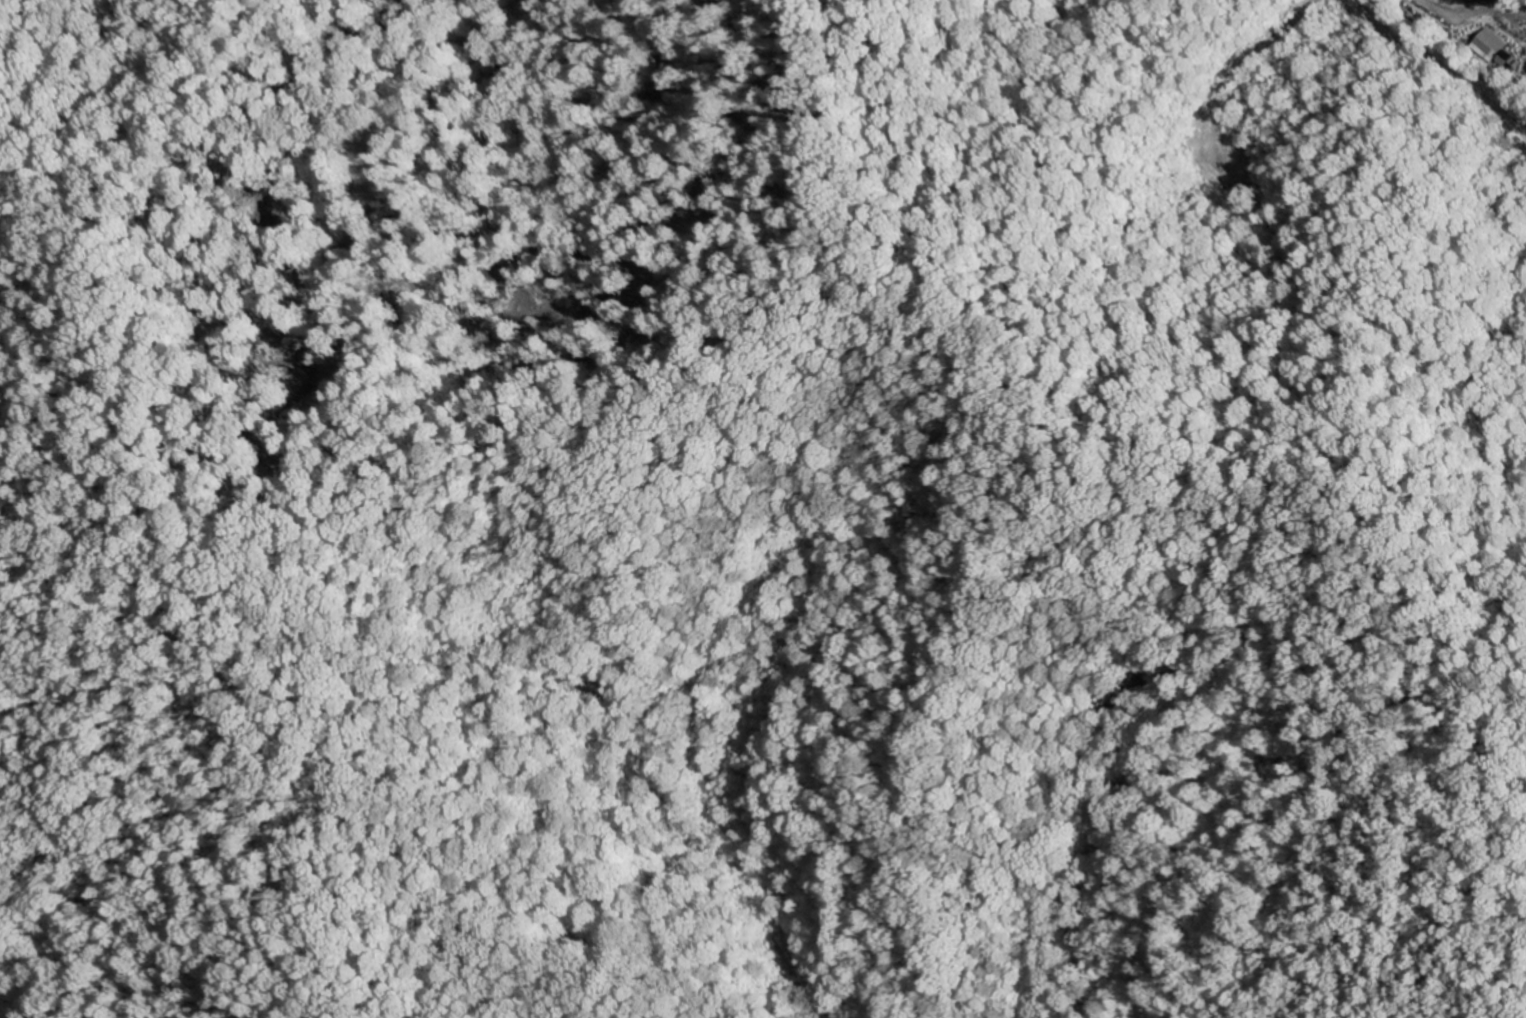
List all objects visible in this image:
building: (1486, 45)

